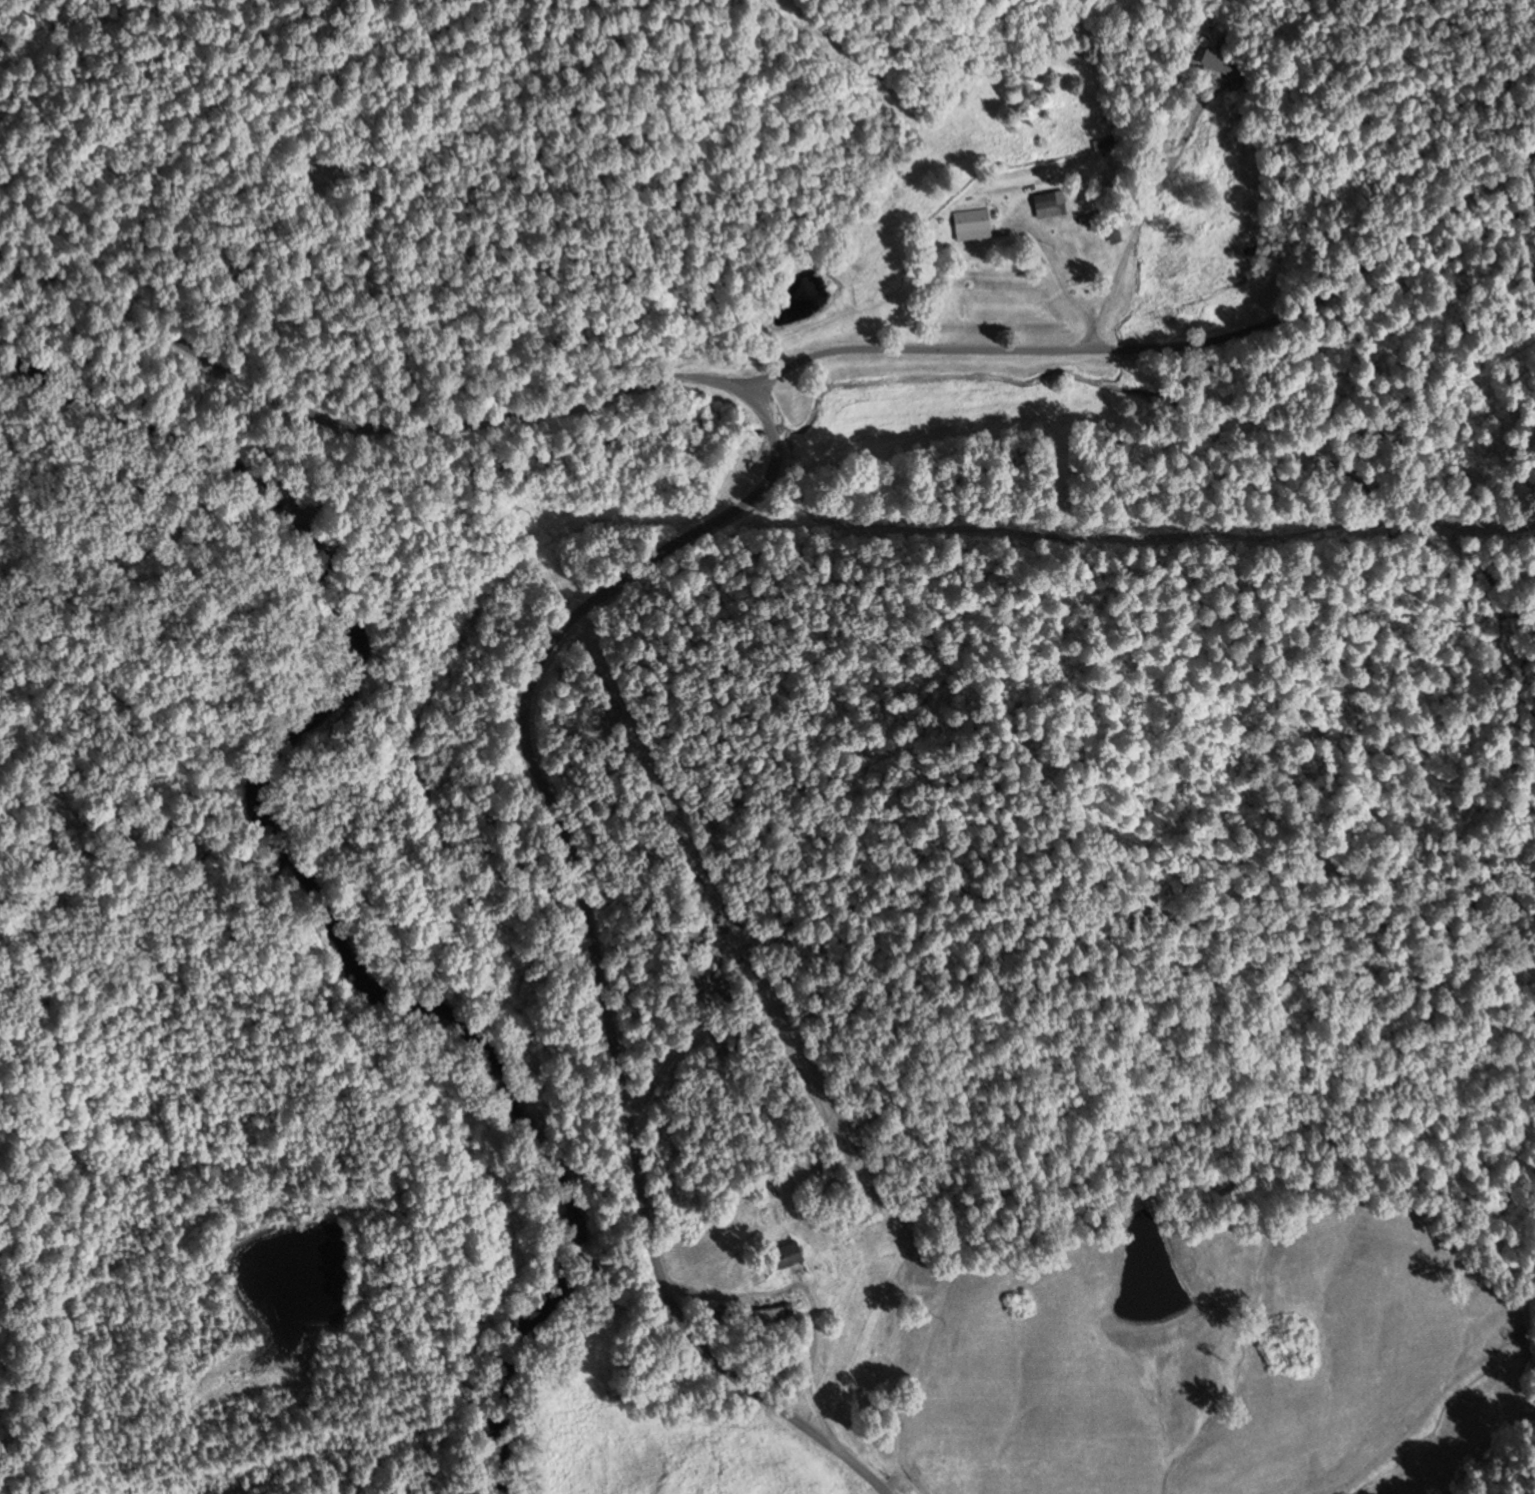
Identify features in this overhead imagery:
building: (1225, 66)
building: (1103, 146)
road: (1269, 154)
building: (1049, 203)
building: (971, 223)
building: (1113, 234)
road: (1164, 350)
road: (633, 582)
building: (722, 989)
building: (325, 1191)
road: (13, 1214)
building: (787, 1254)
building: (773, 1313)

